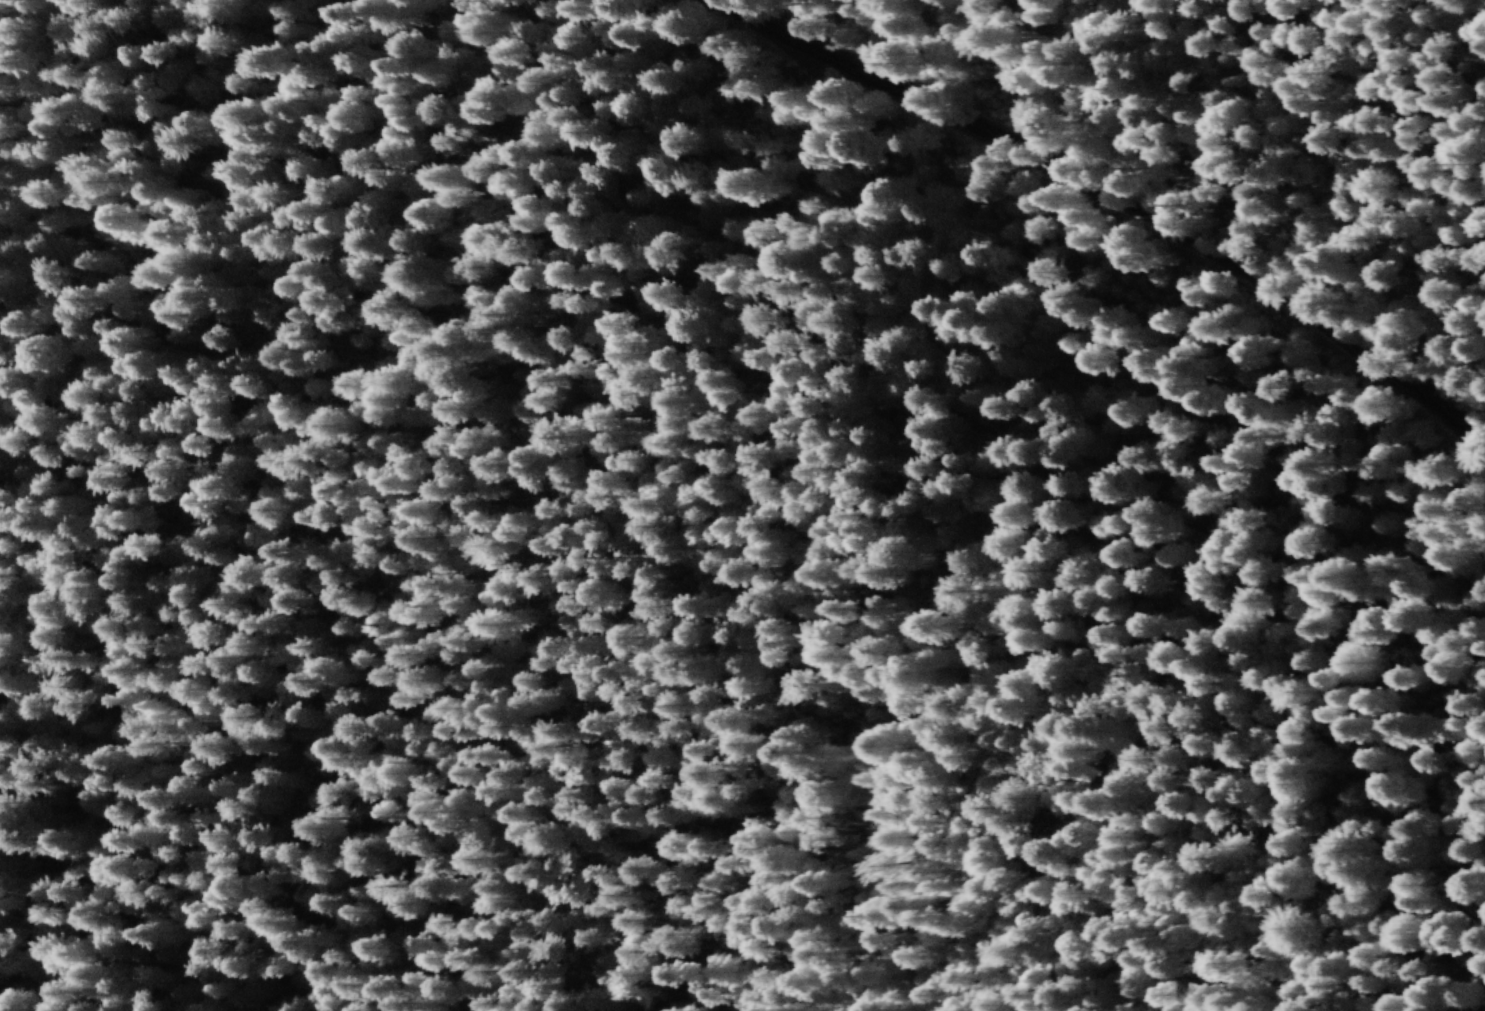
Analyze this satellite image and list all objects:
road: (1083, 207)
road: (850, 284)
road: (935, 669)

